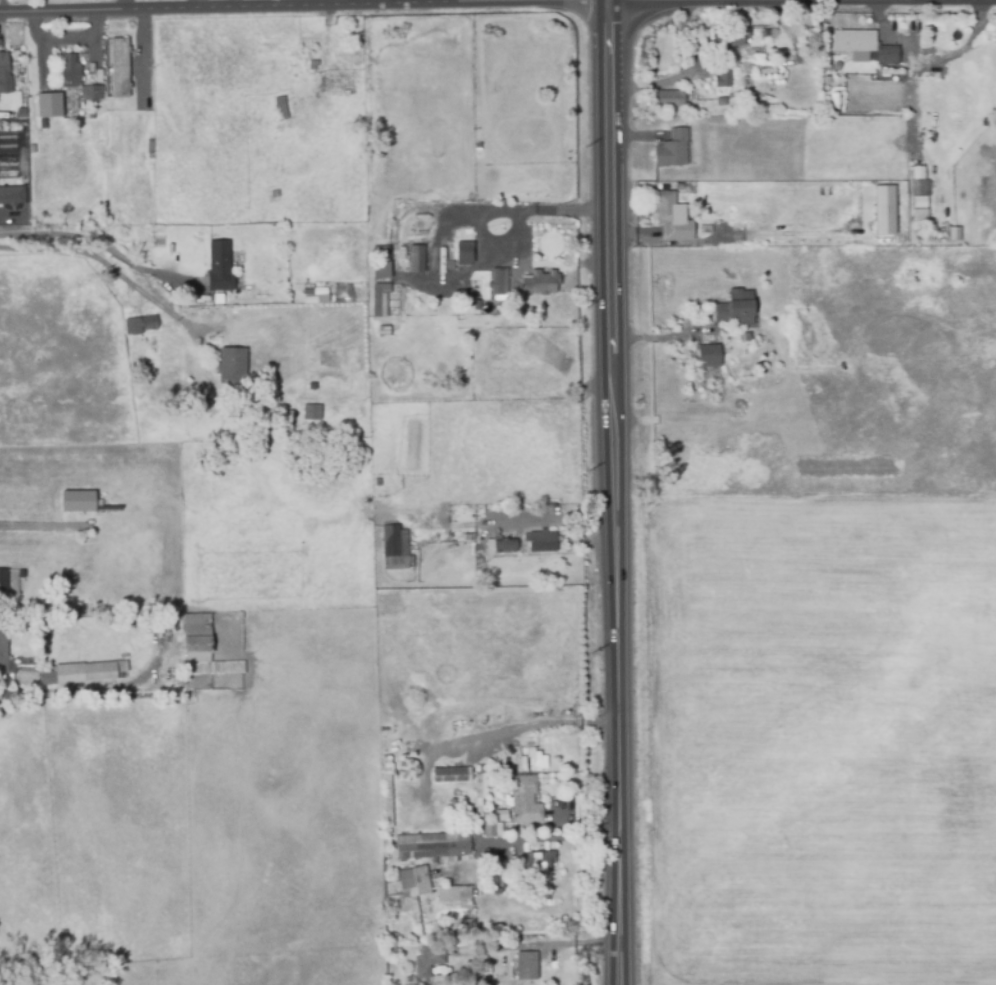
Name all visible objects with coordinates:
road: (238, 14)
building: (728, 38)
building: (307, 45)
building: (853, 45)
building: (886, 55)
building: (311, 65)
building: (3, 67)
building: (119, 68)
building: (69, 72)
road: (680, 73)
building: (722, 79)
building: (90, 93)
building: (669, 100)
building: (720, 103)
building: (47, 106)
building: (281, 109)
building: (21, 114)
road: (166, 130)
building: (149, 147)
building: (671, 150)
building: (917, 187)
building: (272, 195)
building: (11, 196)
building: (918, 207)
building: (883, 209)
road: (500, 210)
building: (668, 216)
building: (952, 233)
road: (103, 247)
building: (465, 251)
building: (143, 259)
building: (383, 259)
building: (416, 259)
road: (106, 264)
building: (218, 271)
building: (539, 283)
building: (499, 284)
building: (416, 291)
building: (307, 293)
building: (377, 297)
building: (217, 299)
building: (242, 302)
building: (763, 303)
building: (722, 314)
building: (784, 315)
building: (138, 326)
building: (381, 331)
road: (660, 338)
building: (713, 345)
building: (743, 351)
building: (677, 357)
building: (230, 366)
road: (152, 388)
building: (311, 413)
building: (333, 413)
road: (610, 492)
building: (374, 497)
building: (76, 501)
road: (564, 519)
road: (36, 527)
building: (540, 541)
building: (499, 545)
building: (477, 546)
building: (395, 550)
building: (478, 562)
building: (83, 570)
building: (420, 570)
building: (59, 571)
building: (2, 585)
building: (194, 638)
building: (3, 650)
building: (211, 668)
building: (74, 676)
building: (48, 679)
road: (88, 689)
road: (535, 724)
building: (539, 760)
building: (406, 770)
building: (450, 775)
building: (479, 791)
building: (385, 801)
building: (524, 801)
building: (499, 814)
building: (489, 831)
building: (433, 850)
building: (538, 862)
building: (412, 881)
building: (452, 894)
building: (460, 926)
building: (427, 962)
building: (526, 965)

